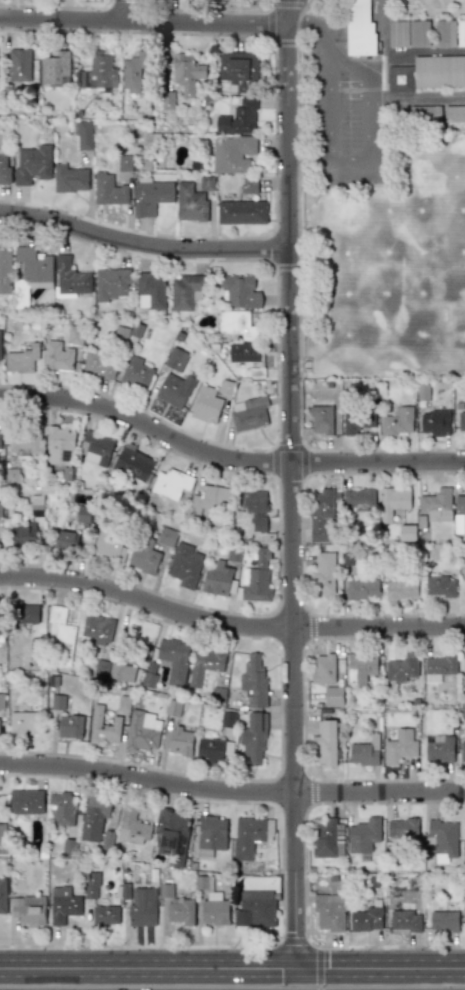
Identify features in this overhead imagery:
road: (305, 6)
road: (126, 10)
road: (298, 17)
road: (143, 21)
road: (312, 26)
building: (360, 27)
building: (461, 32)
building: (418, 33)
building: (445, 33)
building: (397, 34)
road: (285, 42)
road: (346, 62)
building: (19, 65)
building: (55, 68)
building: (238, 70)
building: (439, 71)
building: (97, 72)
building: (132, 73)
building: (186, 73)
building: (399, 79)
road: (418, 98)
road: (324, 105)
building: (454, 113)
building: (238, 118)
parking lot: (336, 124)
building: (84, 135)
road: (275, 137)
road: (373, 140)
building: (232, 153)
road: (306, 159)
building: (32, 164)
building: (4, 168)
building: (69, 179)
building: (206, 183)
building: (249, 186)
building: (108, 189)
building: (150, 197)
building: (190, 203)
building: (241, 212)
road: (143, 243)
building: (34, 267)
building: (5, 272)
building: (70, 278)
building: (112, 283)
building: (150, 291)
building: (185, 291)
building: (239, 292)
road: (299, 315)
building: (236, 324)
building: (73, 335)
building: (0, 341)
building: (244, 352)
building: (57, 357)
building: (21, 359)
building: (175, 359)
building: (99, 365)
building: (136, 373)
building: (175, 389)
building: (464, 403)
building: (206, 405)
building: (249, 413)
building: (321, 419)
building: (356, 421)
building: (398, 421)
building: (461, 421)
building: (435, 422)
building: (0, 436)
building: (24, 439)
building: (59, 445)
building: (95, 448)
road: (227, 459)
building: (133, 463)
building: (11, 475)
building: (171, 483)
road: (292, 486)
building: (358, 498)
building: (460, 501)
building: (393, 502)
building: (36, 505)
building: (436, 505)
building: (0, 508)
building: (256, 509)
building: (321, 515)
building: (459, 523)
building: (406, 532)
building: (21, 536)
building: (166, 537)
building: (67, 539)
building: (109, 543)
building: (144, 556)
building: (185, 565)
building: (322, 574)
building: (256, 578)
building: (217, 579)
building: (440, 586)
building: (464, 586)
building: (362, 589)
building: (401, 589)
building: (26, 613)
road: (229, 624)
building: (98, 629)
building: (60, 639)
building: (173, 660)
building: (205, 664)
building: (323, 668)
building: (361, 668)
building: (401, 668)
building: (438, 668)
building: (464, 668)
building: (101, 669)
building: (121, 672)
building: (149, 674)
building: (254, 680)
building: (218, 694)
building: (333, 696)
building: (1, 701)
building: (57, 701)
building: (24, 723)
building: (70, 726)
building: (103, 727)
building: (141, 731)
building: (254, 739)
building: (180, 741)
building: (325, 744)
building: (399, 747)
building: (439, 748)
building: (209, 750)
building: (462, 751)
road: (231, 794)
building: (26, 801)
building: (61, 807)
building: (94, 818)
building: (132, 825)
building: (402, 827)
building: (172, 834)
building: (211, 835)
building: (247, 836)
building: (364, 837)
building: (2, 838)
building: (107, 838)
building: (328, 839)
building: (442, 839)
road: (281, 874)
road: (304, 874)
building: (321, 880)
building: (91, 885)
building: (3, 894)
building: (216, 900)
building: (63, 905)
building: (258, 907)
building: (27, 910)
building: (181, 911)
building: (329, 912)
building: (215, 914)
building: (105, 915)
building: (366, 919)
building: (443, 920)
building: (405, 921)
road: (232, 973)

